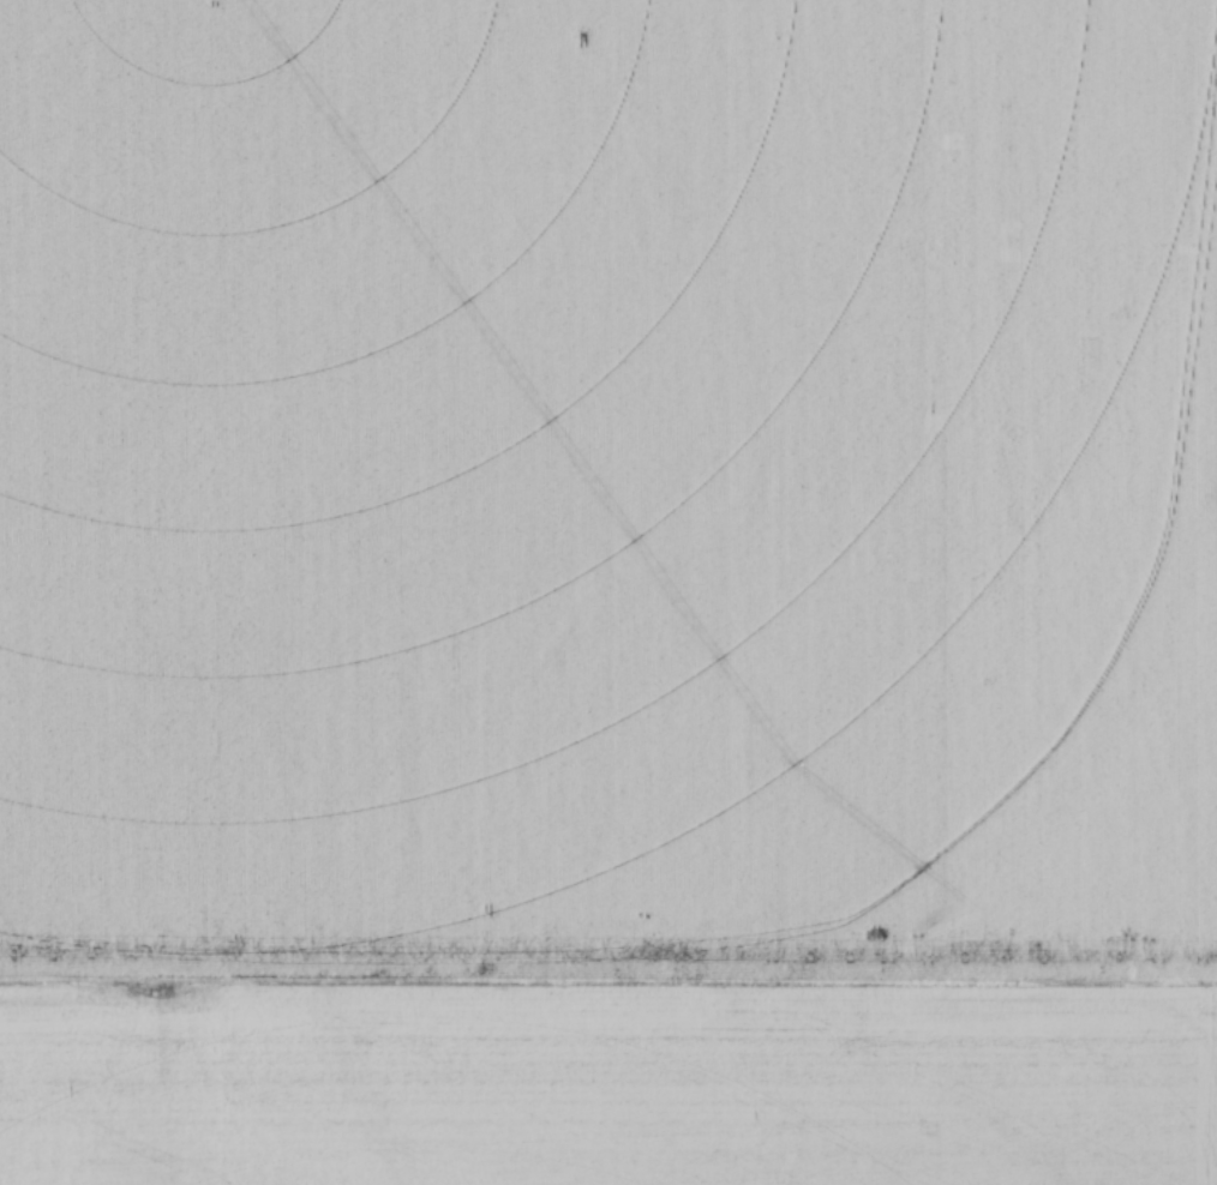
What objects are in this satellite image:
crop: (608, 592)

